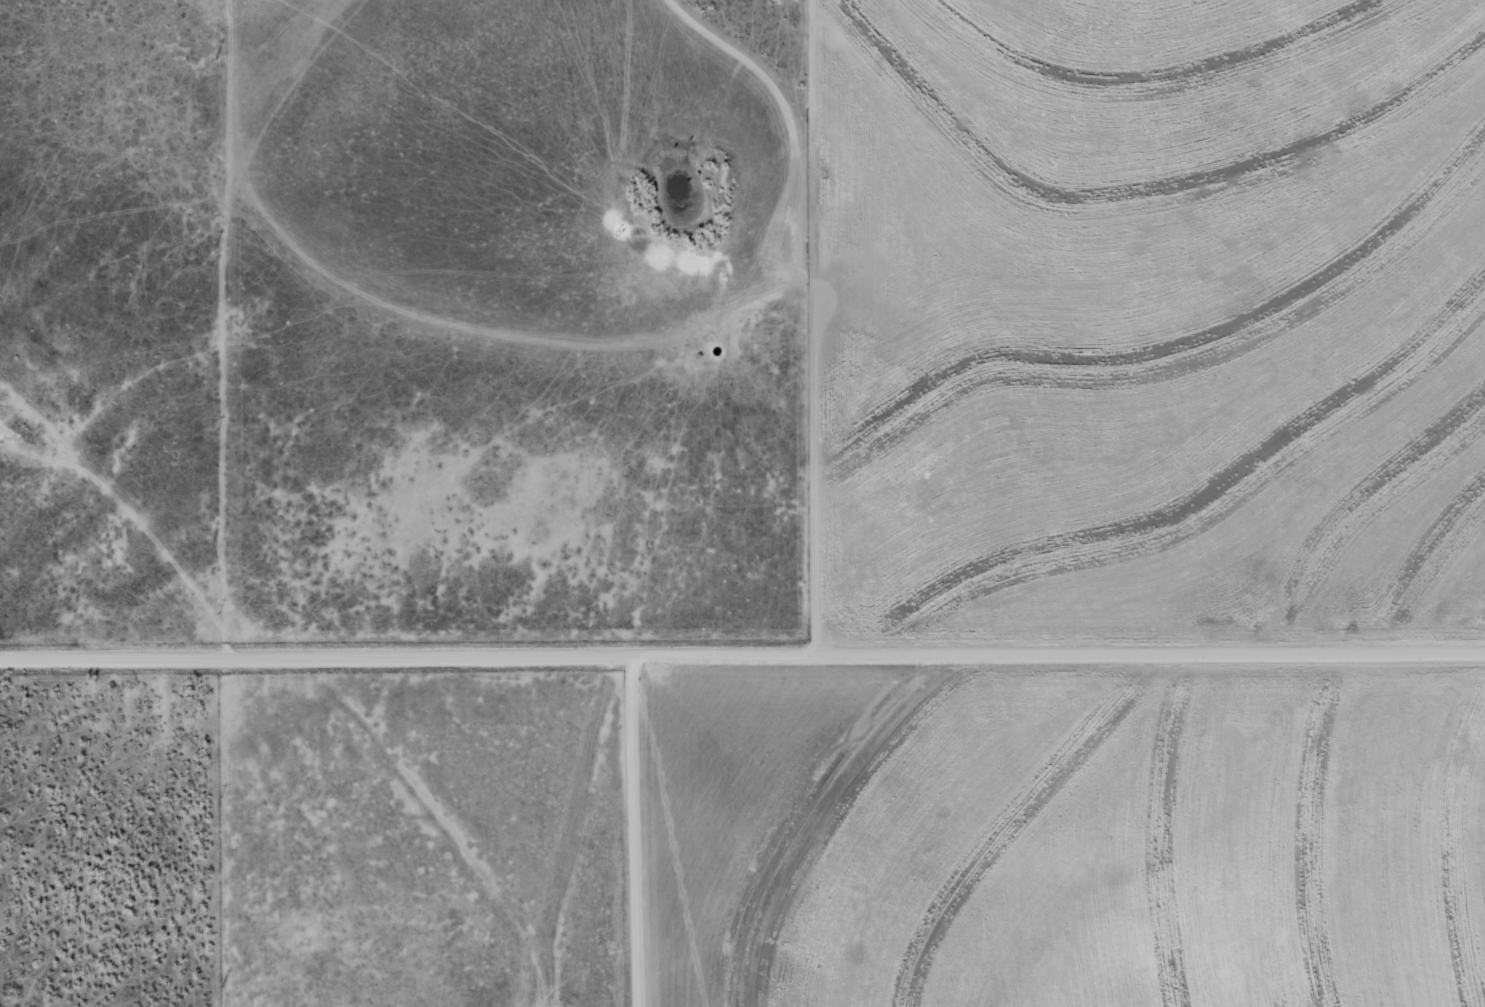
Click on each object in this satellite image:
road: (742, 651)
road: (657, 829)

